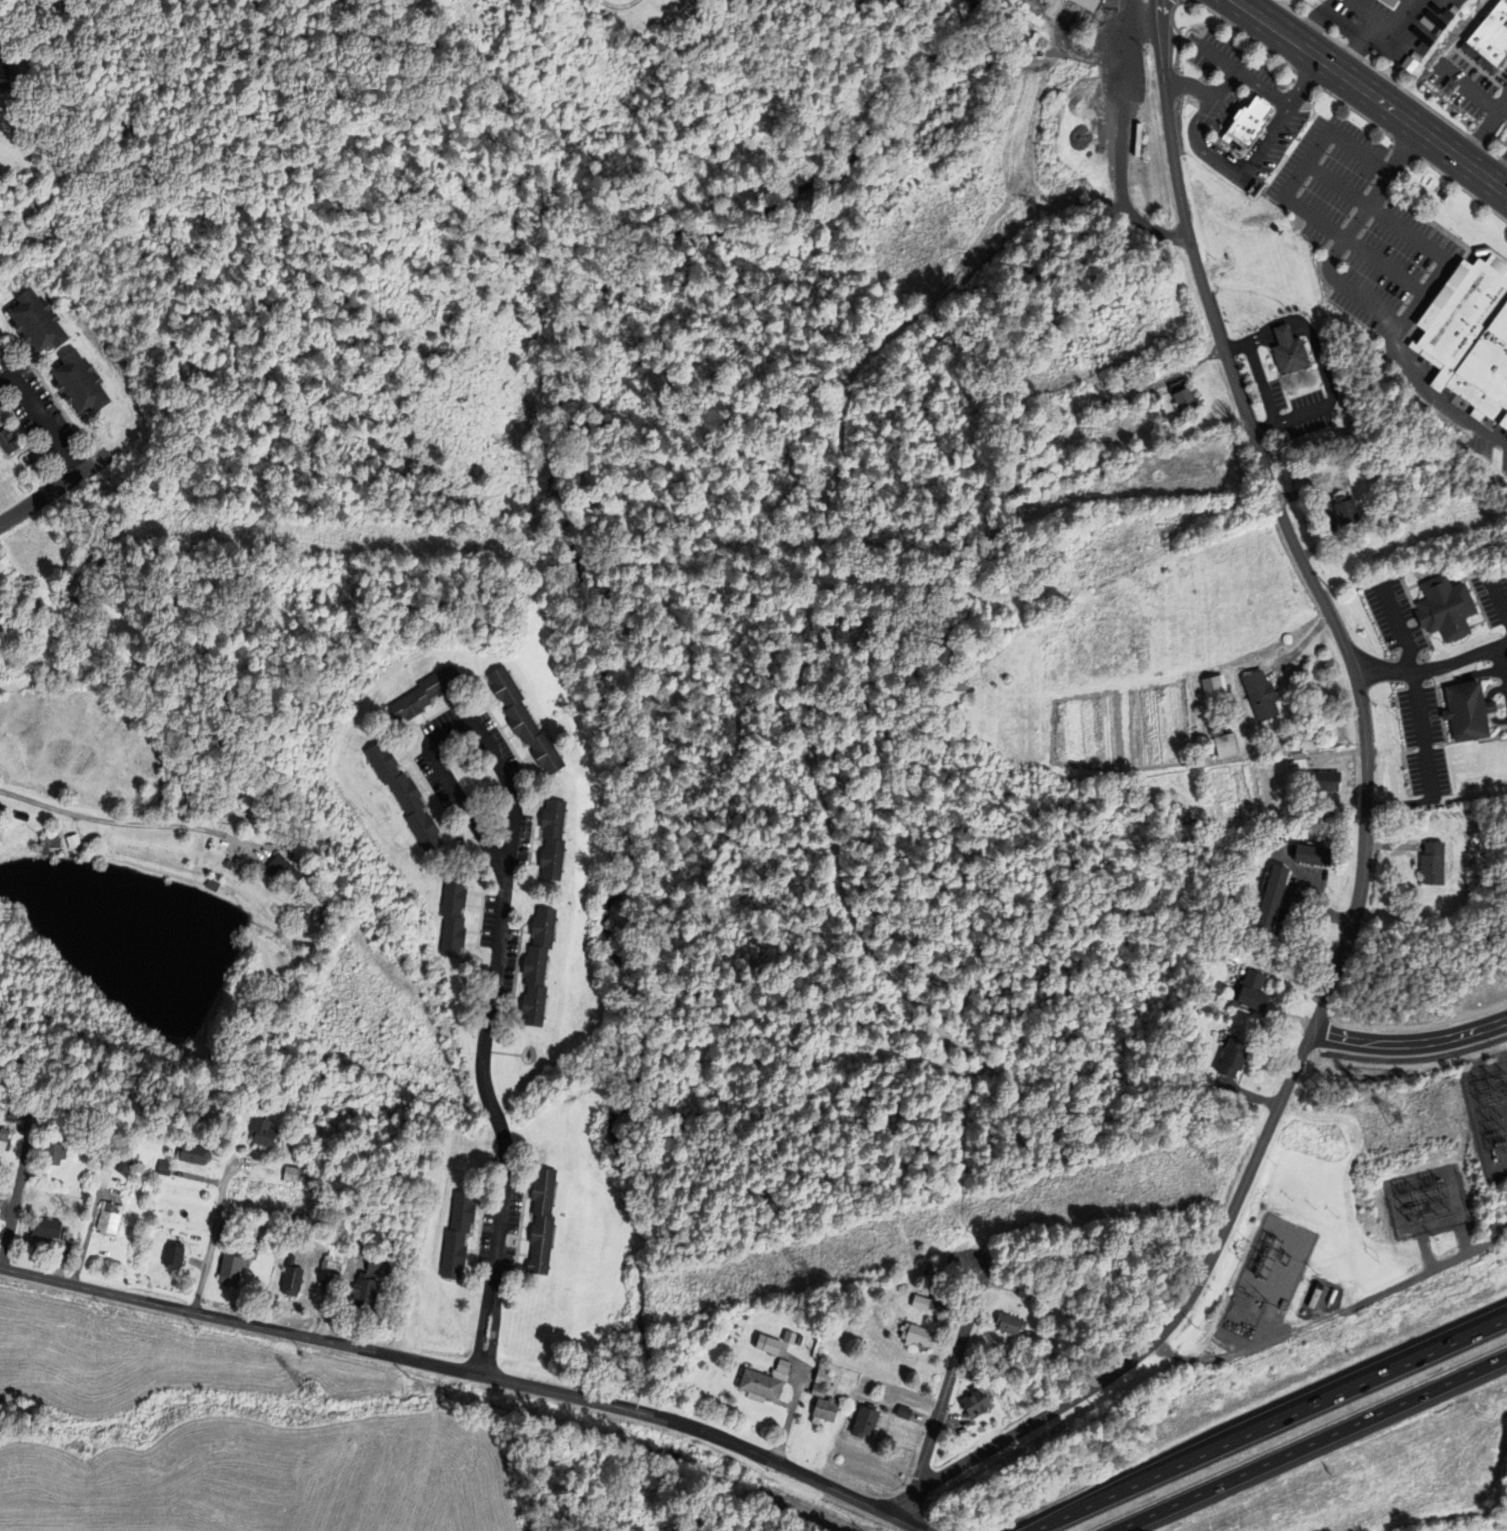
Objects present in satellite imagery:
parking lot: (1144, 0)
parking lot: (743, 2)
building: (1390, 2)
building: (1099, 4)
parking lot: (1105, 4)
road: (1291, 9)
building: (505, 17)
road: (1395, 17)
road: (1142, 20)
road: (1363, 20)
parking lot: (1386, 27)
road: (1249, 37)
road: (1333, 37)
road: (1417, 37)
building: (1490, 40)
road: (1159, 41)
parking lot: (1098, 46)
road: (1354, 48)
road: (1215, 55)
parking lot: (1127, 61)
road: (1305, 83)
parking lot: (1466, 83)
road: (1470, 88)
road: (1262, 89)
road: (1372, 94)
road: (1206, 95)
road: (1419, 100)
parking lot: (1214, 111)
road: (1355, 112)
road: (1234, 113)
road: (1177, 121)
building: (1247, 122)
parking lot: (1474, 127)
parking lot: (1498, 129)
road: (1028, 132)
road: (1485, 132)
road: (1120, 141)
parking lot: (1478, 144)
parking lot: (1326, 152)
parking lot: (1326, 152)
road: (1492, 152)
parking lot: (1335, 153)
road: (1358, 153)
parking lot: (1504, 156)
parking lot: (1502, 161)
road: (1304, 164)
road: (1498, 167)
road: (1234, 168)
parking lot: (1371, 183)
parking lot: (1371, 183)
parking lot: (1371, 183)
parking lot: (1303, 186)
parking lot: (1303, 186)
road: (1459, 186)
parking lot: (1300, 190)
parking lot: (1409, 191)
parking lot: (1353, 208)
road: (1375, 212)
parking lot: (1348, 216)
parking lot: (1348, 216)
parking lot: (1365, 226)
parking lot: (1365, 226)
road: (1345, 237)
road: (1352, 246)
parking lot: (1341, 262)
parking lot: (1341, 262)
parking lot: (1376, 263)
parking lot: (1428, 271)
parking lot: (1428, 271)
road: (1438, 290)
parking lot: (1404, 304)
parking lot: (1404, 304)
building: (37, 321)
building: (1471, 335)
road: (1311, 336)
crop: (1104, 337)
building: (1289, 349)
road: (1194, 364)
road: (1271, 364)
road: (1406, 369)
road: (1255, 370)
road: (1269, 370)
parking lot: (1324, 373)
parking lot: (7, 377)
road: (1267, 379)
building: (81, 382)
road: (1294, 385)
road: (1319, 386)
road: (1278, 388)
building: (1141, 391)
parking lot: (8, 396)
building: (1185, 397)
road: (1300, 397)
road: (1289, 407)
building: (1162, 415)
road: (41, 418)
road: (1289, 419)
parking lot: (42, 420)
crop: (1095, 433)
building: (9, 440)
building: (1074, 462)
building: (1037, 472)
parking lot: (54, 478)
crop: (1144, 482)
road: (53, 489)
building: (1345, 509)
road: (1318, 514)
building: (81, 589)
road: (1472, 590)
parking lot: (1493, 595)
road: (1497, 597)
road: (1421, 599)
road: (1419, 602)
parking lot: (1410, 604)
building: (1447, 607)
road: (1481, 612)
road: (1506, 614)
parking lot: (1395, 618)
parking lot: (1412, 622)
road: (1399, 627)
parking lot: (1421, 630)
crop: (1155, 645)
road: (1499, 661)
parking lot: (1418, 662)
parking lot: (1486, 667)
road: (1430, 668)
parking lot: (1504, 673)
road: (1506, 673)
building: (158, 677)
road: (1506, 680)
parking lot: (1495, 682)
road: (1474, 685)
building: (1215, 686)
building: (959, 691)
parking lot: (1486, 692)
building: (423, 693)
building: (1261, 694)
road: (1442, 696)
parking lot: (1493, 697)
parking lot: (1488, 699)
road: (1459, 701)
building: (1470, 710)
building: (523, 720)
building: (1216, 730)
road: (1420, 732)
parking lot: (1422, 739)
building: (1226, 744)
building: (1299, 759)
building: (1405, 775)
building: (1326, 780)
building: (196, 793)
crop: (1217, 793)
building: (403, 794)
building: (191, 795)
building: (260, 800)
road: (130, 825)
building: (552, 838)
building: (51, 841)
building: (75, 841)
building: (1315, 855)
building: (1432, 862)
building: (233, 864)
building: (291, 868)
road: (1360, 877)
building: (213, 884)
building: (1272, 900)
road: (500, 909)
building: (452, 915)
building: (326, 922)
building: (537, 966)
dam: (218, 987)
building: (1254, 992)
crop: (398, 1001)
road: (1409, 1042)
crop: (366, 1045)
building: (1233, 1058)
building: (258, 1101)
power substation: (1490, 1114)
building: (15, 1116)
power tower: (1391, 1116)
building: (261, 1130)
building: (5, 1139)
building: (164, 1147)
building: (50, 1152)
building: (193, 1152)
building: (59, 1153)
building: (97, 1161)
building: (107, 1162)
building: (122, 1164)
power tower: (1208, 1165)
building: (162, 1166)
building: (293, 1172)
road: (16, 1188)
power substation: (1427, 1201)
building: (107, 1218)
building: (541, 1219)
building: (45, 1227)
building: (457, 1233)
road: (1463, 1239)
road: (209, 1240)
building: (252, 1248)
road: (1425, 1252)
building: (173, 1254)
building: (290, 1259)
building: (378, 1263)
building: (230, 1264)
building: (329, 1266)
power tower: (798, 1268)
power substation: (1268, 1274)
building: (291, 1280)
building: (363, 1291)
building: (1024, 1293)
building: (1082, 1296)
building: (1313, 1297)
power substation: (1319, 1298)
building: (920, 1302)
road: (1346, 1309)
road: (1267, 1314)
building: (1010, 1322)
road: (480, 1330)
road: (1266, 1330)
road: (493, 1332)
building: (916, 1333)
building: (1028, 1333)
building: (789, 1336)
building: (799, 1338)
building: (767, 1343)
road: (1163, 1348)
building: (782, 1365)
building: (824, 1366)
road: (464, 1370)
building: (780, 1374)
building: (822, 1376)
road: (949, 1377)
building: (759, 1384)
power tower: (307, 1387)
building: (817, 1389)
building: (976, 1400)
road: (793, 1401)
building: (883, 1408)
building: (824, 1410)
building: (902, 1411)
road: (1290, 1415)
building: (865, 1420)
building: (962, 1432)
crop: (231, 1438)
road: (1309, 1443)
road: (1053, 1522)
road: (916, 1529)

